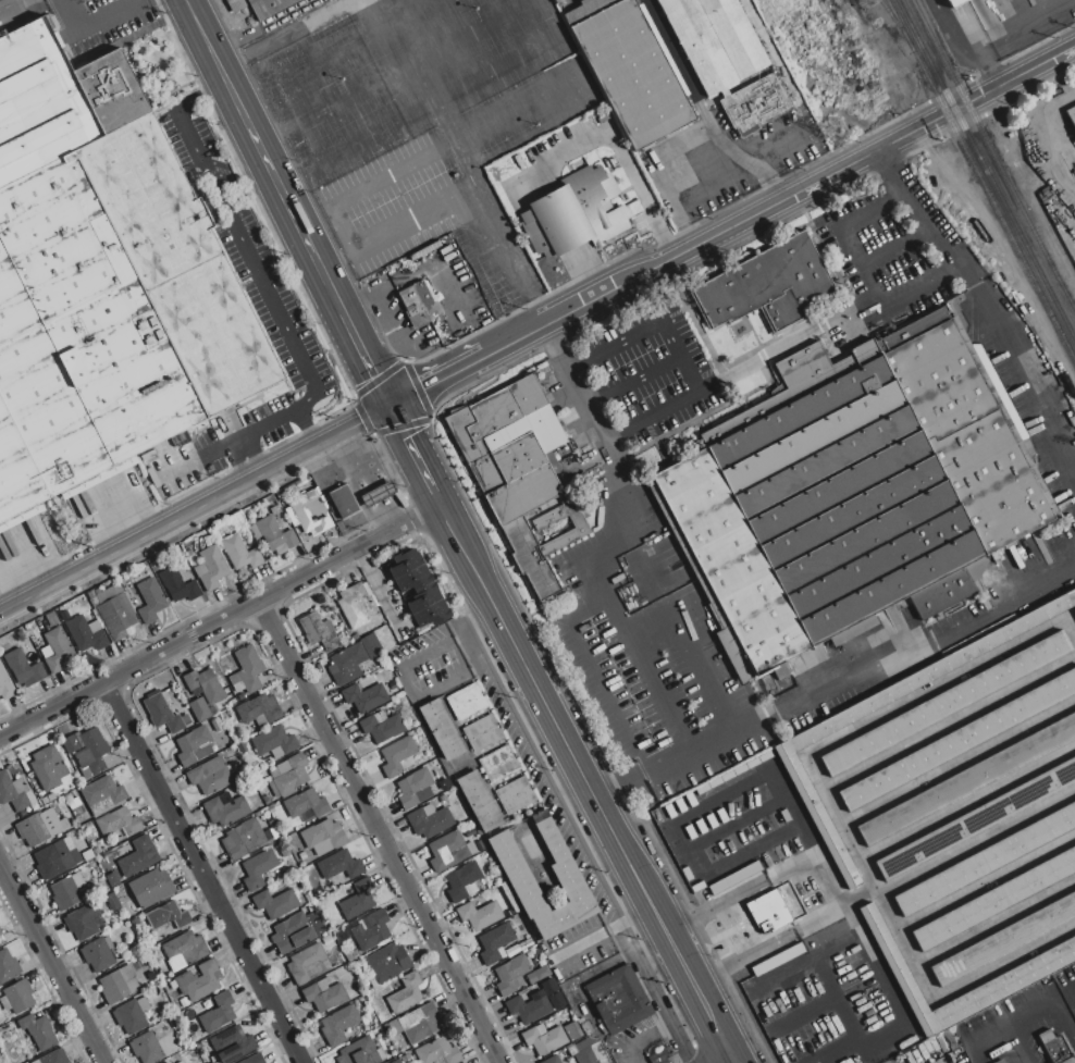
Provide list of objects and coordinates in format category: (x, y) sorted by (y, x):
building: (555, 1)
building: (954, 2)
power tower: (866, 4)
building: (260, 7)
road: (1037, 7)
railway: (888, 12)
road: (91, 21)
road: (260, 24)
road: (953, 39)
building: (715, 40)
road: (215, 62)
building: (629, 69)
road: (993, 74)
road: (1054, 79)
road: (198, 94)
building: (57, 100)
road: (1057, 101)
building: (754, 104)
road: (702, 109)
building: (1071, 115)
power tower: (835, 135)
road: (1058, 147)
road: (619, 148)
railway: (993, 154)
railway: (986, 169)
railway: (980, 178)
road: (384, 180)
road: (281, 191)
road: (780, 200)
building: (574, 213)
road: (404, 220)
road: (341, 228)
road: (245, 250)
road: (893, 252)
road: (334, 257)
road: (858, 273)
building: (767, 284)
road: (329, 286)
building: (416, 302)
road: (361, 306)
railway: (1073, 306)
road: (983, 307)
building: (112, 313)
road: (462, 314)
road: (651, 325)
road: (367, 361)
road: (739, 369)
road: (437, 381)
traffic signals: (390, 407)
road: (306, 428)
road: (258, 429)
road: (606, 442)
road: (411, 449)
road: (197, 459)
building: (514, 466)
building: (378, 494)
building: (851, 494)
building: (343, 502)
road: (195, 509)
building: (273, 509)
building: (309, 514)
building: (668, 521)
building: (542, 524)
building: (275, 535)
road: (461, 545)
building: (239, 553)
building: (210, 568)
building: (122, 582)
building: (177, 585)
building: (418, 588)
building: (128, 590)
building: (83, 601)
building: (150, 601)
building: (357, 605)
building: (115, 616)
building: (51, 619)
road: (220, 620)
building: (423, 630)
building: (319, 631)
building: (85, 636)
building: (355, 636)
building: (370, 646)
building: (55, 650)
road: (696, 662)
building: (347, 664)
road: (641, 664)
building: (23, 669)
building: (247, 670)
road: (605, 675)
road: (407, 682)
building: (5, 684)
building: (206, 685)
road: (836, 687)
building: (240, 696)
building: (364, 696)
building: (467, 701)
building: (232, 702)
building: (201, 709)
building: (259, 710)
building: (161, 712)
building: (217, 725)
building: (381, 727)
building: (351, 729)
building: (440, 730)
building: (483, 733)
building: (419, 738)
road: (839, 739)
building: (95, 741)
building: (273, 741)
building: (70, 743)
building: (194, 745)
building: (243, 749)
building: (425, 755)
building: (396, 756)
building: (498, 764)
road: (574, 765)
building: (46, 769)
building: (210, 776)
building: (288, 776)
road: (763, 776)
building: (411, 788)
building: (14, 792)
building: (102, 794)
building: (516, 795)
building: (67, 798)
building: (47, 799)
building: (442, 799)
building: (267, 800)
building: (479, 802)
building: (74, 803)
building: (306, 805)
building: (271, 808)
building: (225, 809)
building: (22, 812)
building: (961, 812)
building: (430, 820)
building: (118, 823)
building: (39, 827)
road: (379, 831)
building: (470, 832)
building: (323, 837)
building: (244, 839)
building: (96, 851)
building: (449, 851)
road: (816, 854)
building: (87, 855)
building: (302, 855)
building: (137, 856)
building: (57, 857)
road: (725, 858)
building: (339, 865)
building: (258, 868)
road: (201, 873)
building: (112, 879)
building: (461, 880)
building: (522, 883)
building: (150, 887)
building: (69, 891)
building: (308, 897)
building: (111, 900)
building: (358, 900)
building: (275, 903)
road: (715, 905)
building: (312, 906)
building: (768, 912)
building: (480, 914)
building: (166, 916)
building: (85, 920)
building: (135, 923)
building: (369, 927)
building: (295, 932)
building: (1, 938)
building: (326, 939)
road: (902, 942)
building: (496, 943)
building: (526, 944)
building: (136, 945)
building: (184, 950)
building: (98, 954)
building: (351, 955)
road: (677, 957)
road: (741, 957)
road: (1003, 961)
building: (307, 963)
building: (386, 963)
road: (51, 964)
building: (355, 964)
building: (8, 966)
building: (537, 975)
building: (511, 976)
road: (824, 977)
building: (1068, 980)
building: (199, 981)
building: (119, 984)
building: (172, 985)
building: (406, 993)
building: (323, 994)
building: (16, 997)
building: (618, 998)
building: (183, 1002)
building: (563, 1004)
road: (899, 1005)
road: (1051, 1006)
building: (529, 1008)
building: (190, 1013)
building: (218, 1013)
building: (131, 1015)
road: (708, 1018)
building: (338, 1024)
building: (415, 1024)
building: (586, 1028)
building: (379, 1029)
building: (38, 1031)
building: (598, 1033)
road: (1001, 1033)
building: (577, 1034)
building: (544, 1038)
building: (232, 1045)
building: (146, 1048)
building: (589, 1051)
building: (1058, 1051)
building: (360, 1052)
building: (437, 1052)
building: (659, 1056)
building: (54, 1058)
building: (405, 1058)
road: (713, 1058)
road: (725, 1058)
building: (254, 1059)
building: (551, 1060)
building: (999, 1061)
building: (35, 1062)
building: (180, 1062)

